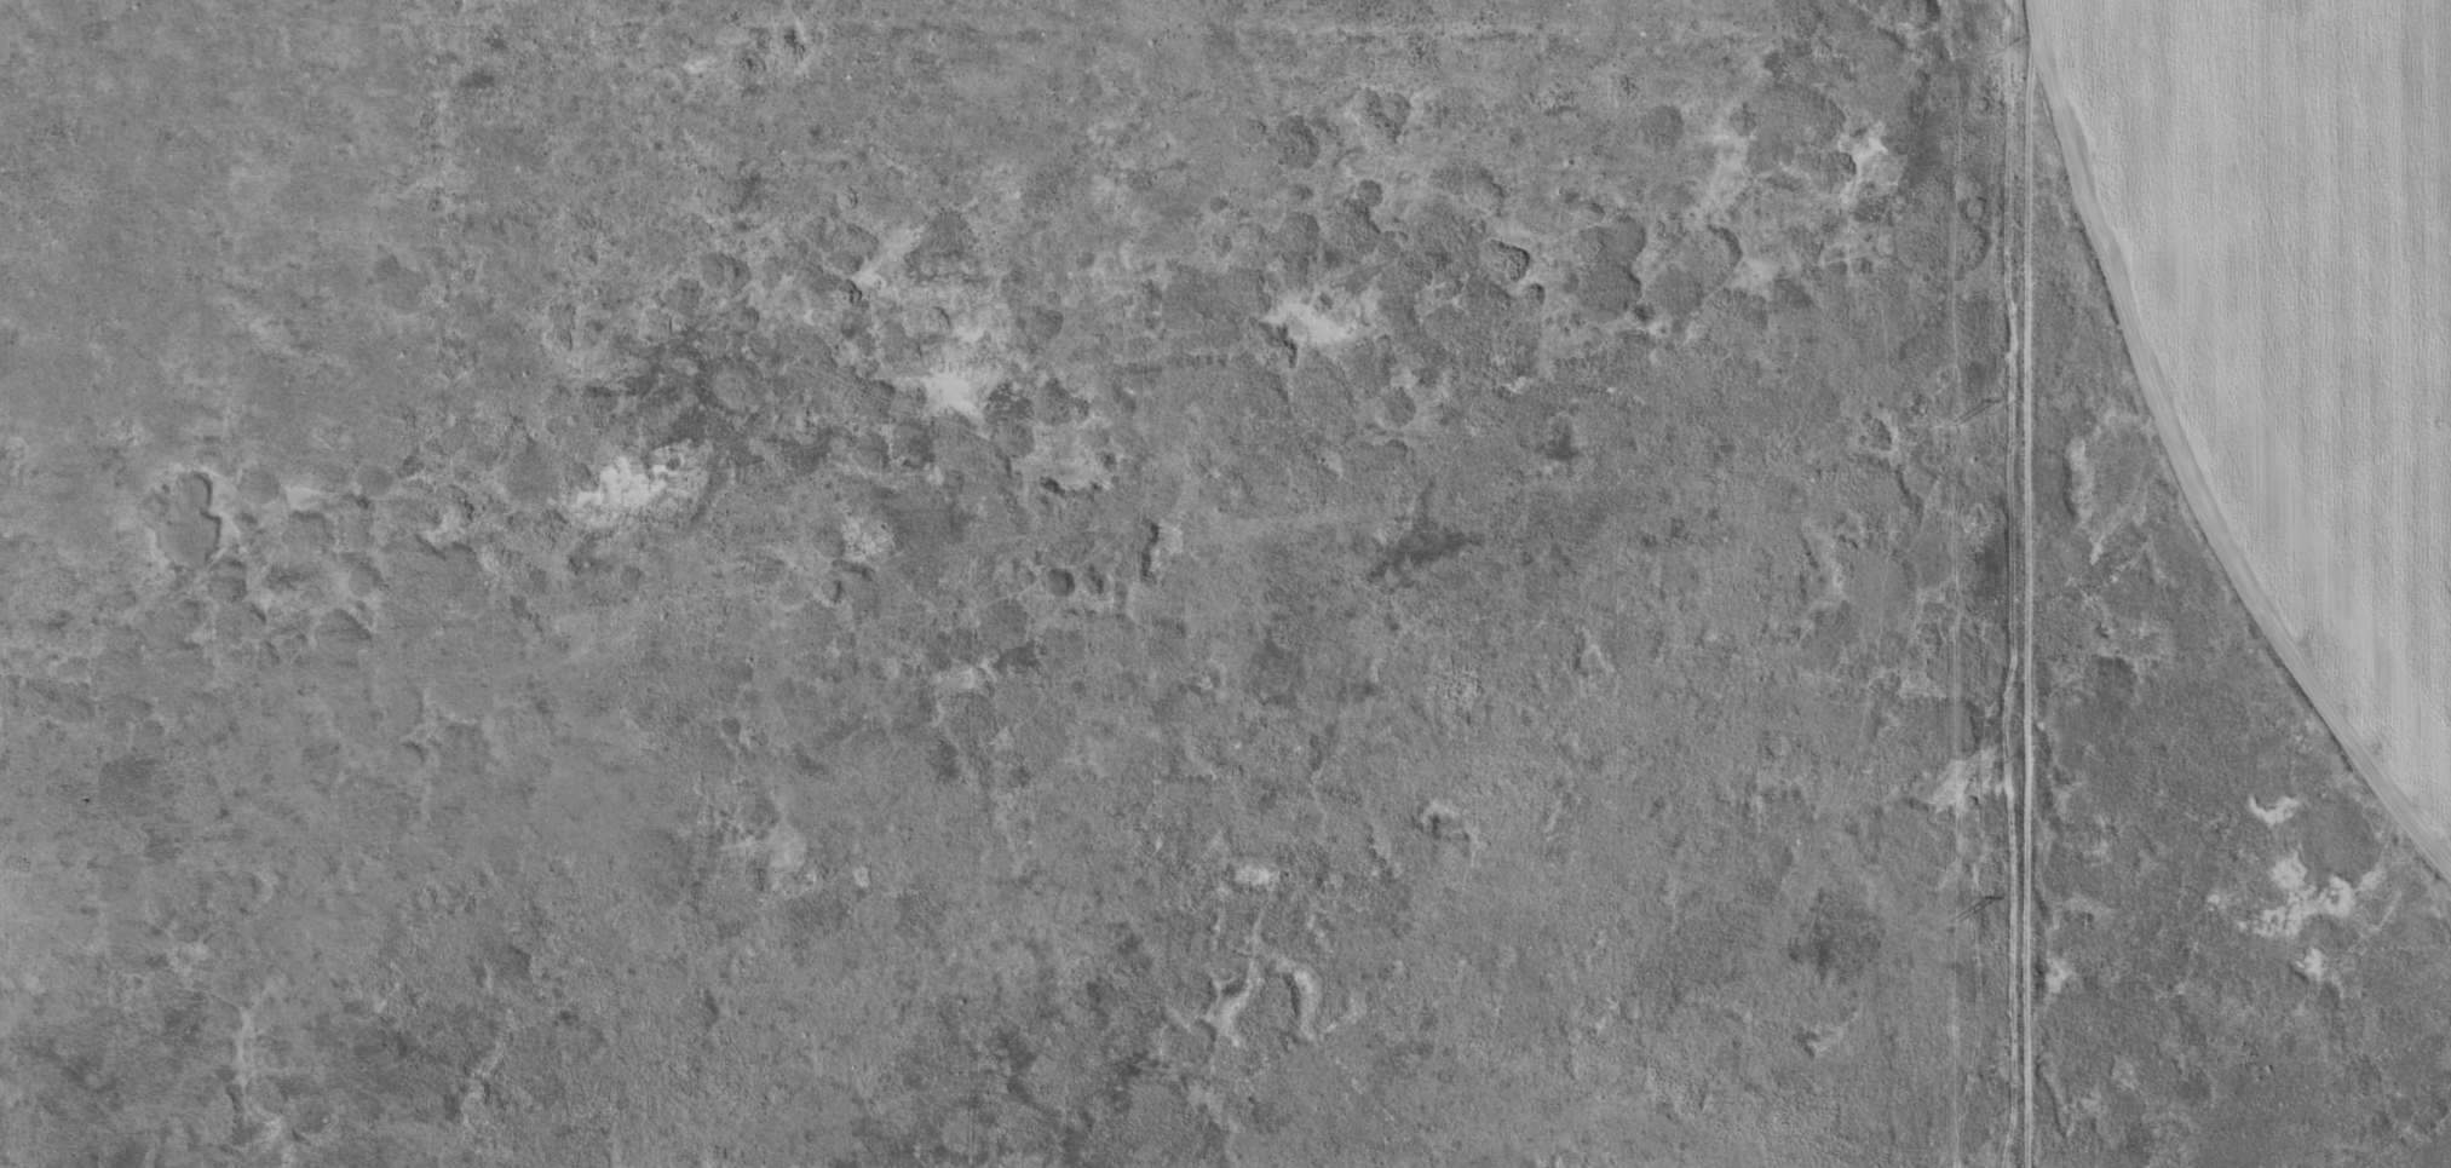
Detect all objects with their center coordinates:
power tower: (1950, 424)
road: (2004, 583)
power tower: (1955, 921)

